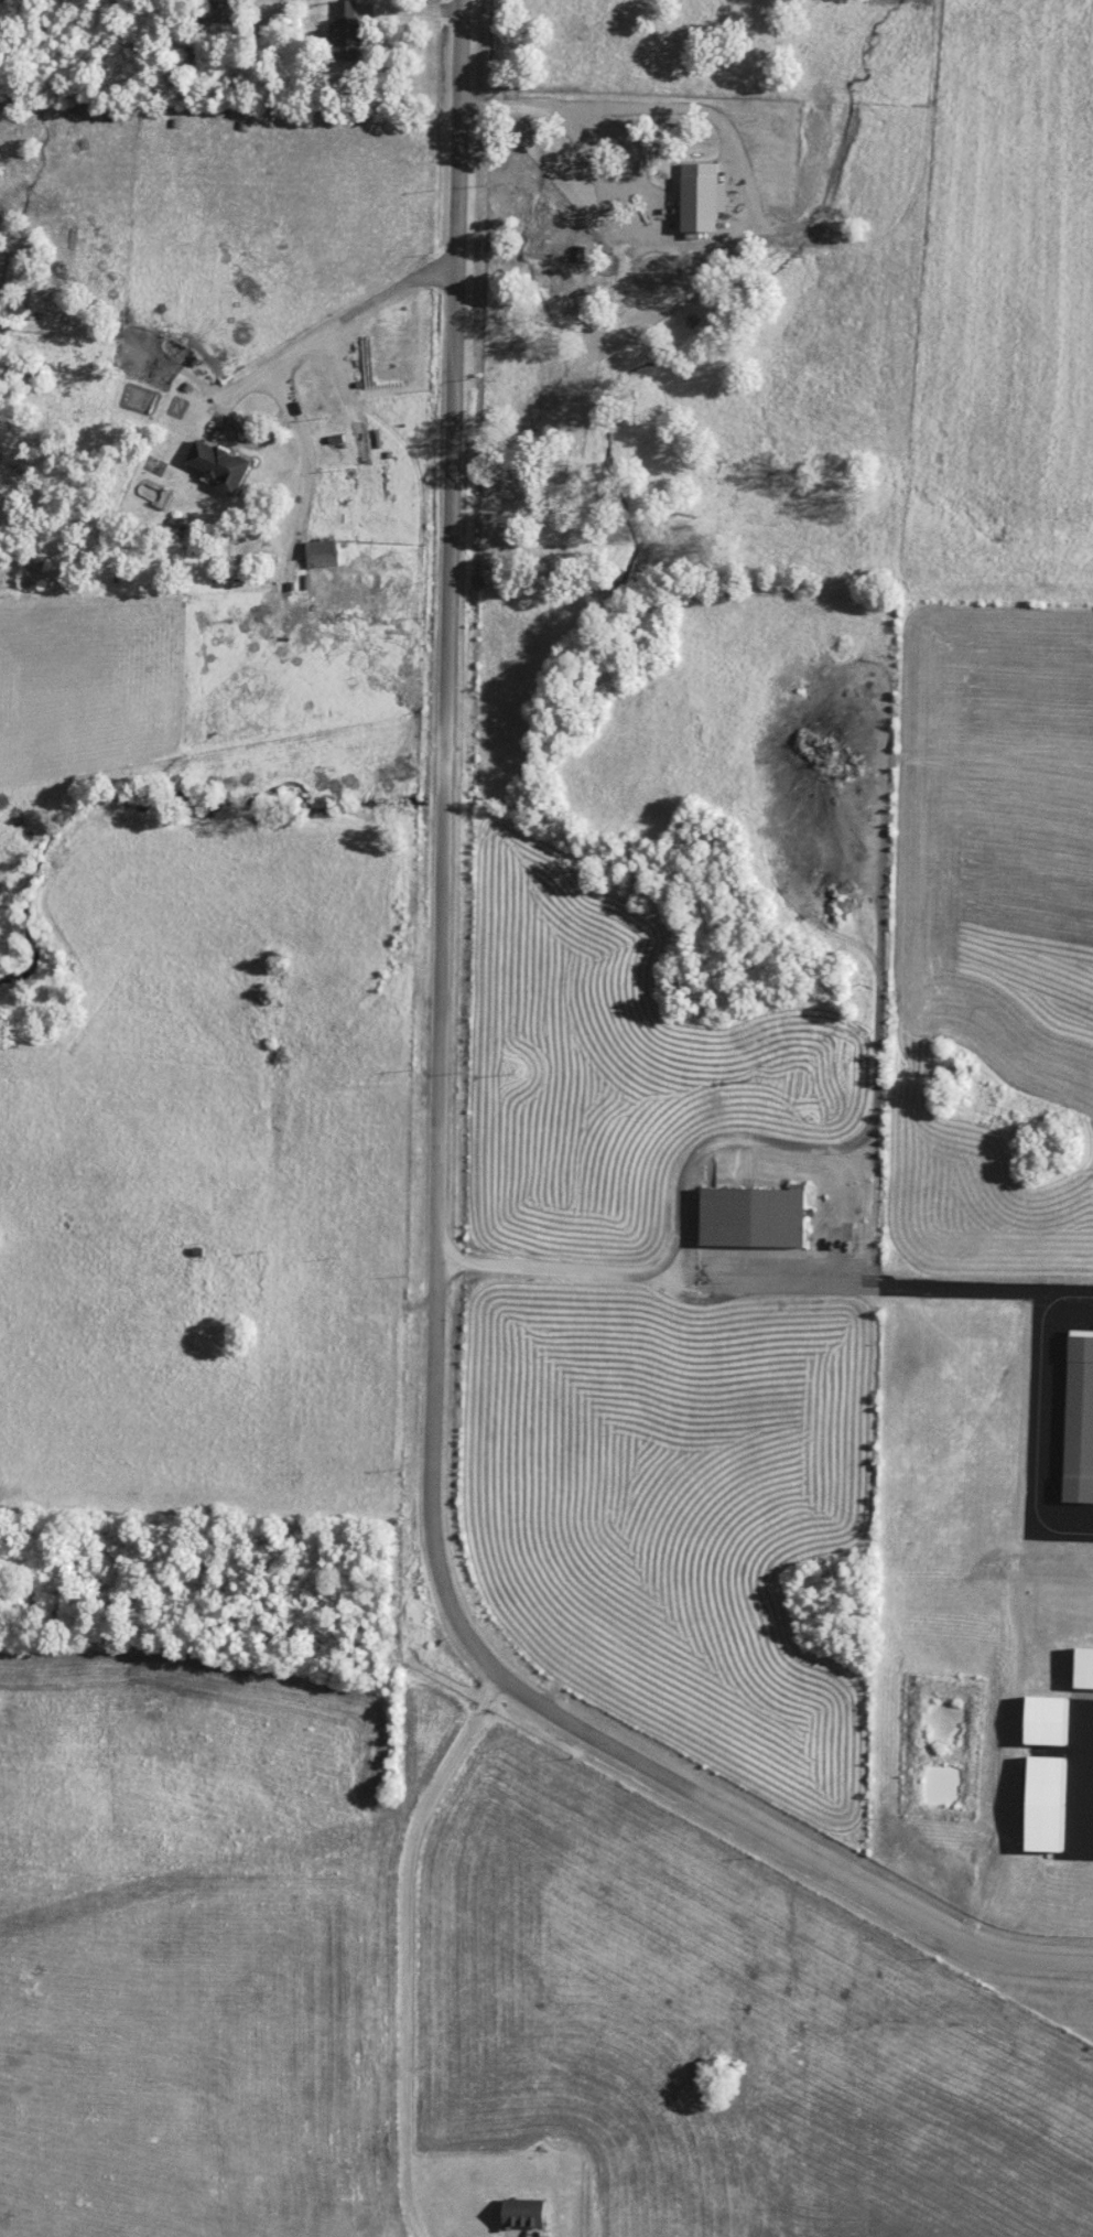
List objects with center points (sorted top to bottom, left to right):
building: (349, 28)
road: (279, 374)
road: (455, 374)
building: (226, 465)
building: (325, 552)
building: (757, 1216)
road: (669, 1272)
airport taxiway: (996, 1286)
road: (347, 1303)
building: (1080, 1420)
road: (436, 1555)
building: (1085, 1668)
building: (1054, 1721)
airport apron: (1079, 1781)
building: (1051, 1805)
building: (528, 2214)

